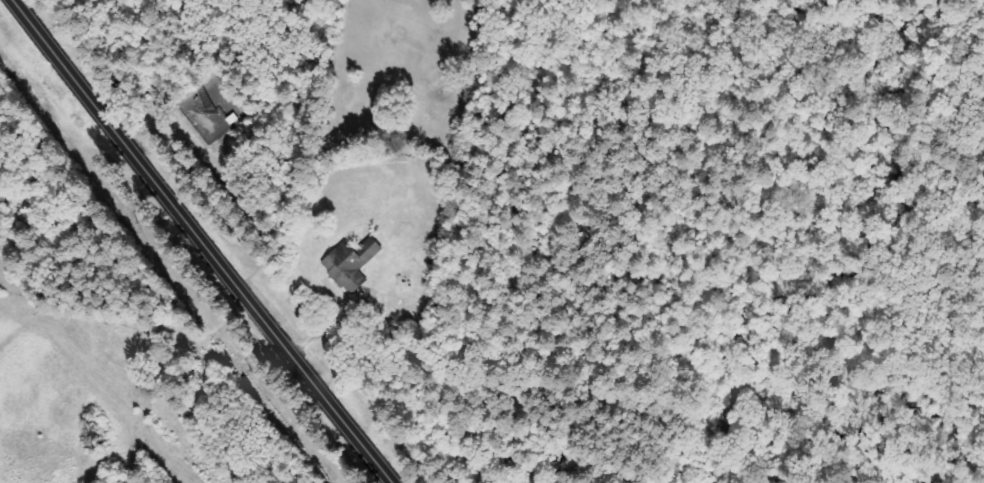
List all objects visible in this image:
road: (200, 241)
road: (159, 374)

